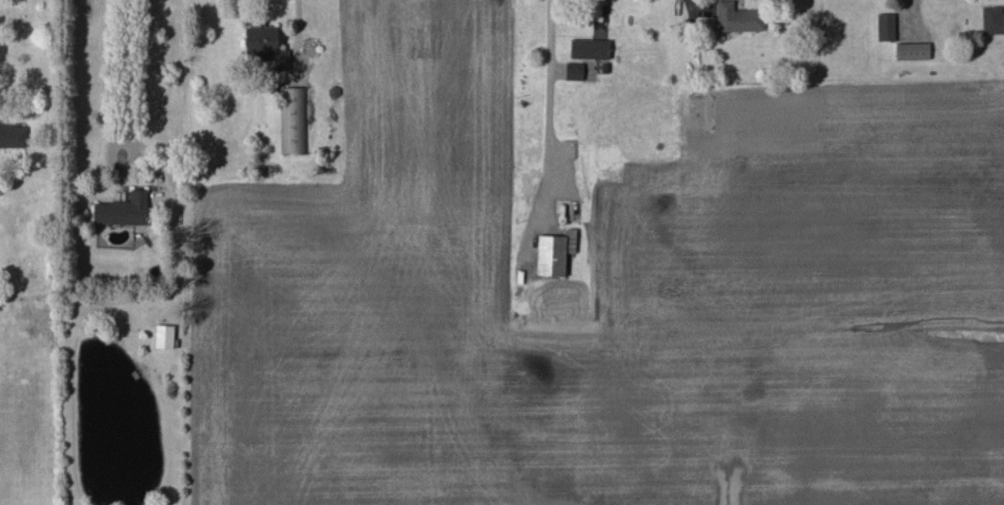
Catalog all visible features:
road: (696, 9)
building: (738, 18)
building: (992, 20)
building: (886, 27)
building: (266, 47)
building: (589, 49)
building: (912, 51)
building: (574, 71)
road: (124, 76)
road: (550, 95)
building: (293, 121)
building: (12, 136)
building: (122, 210)
building: (554, 253)
building: (164, 336)

